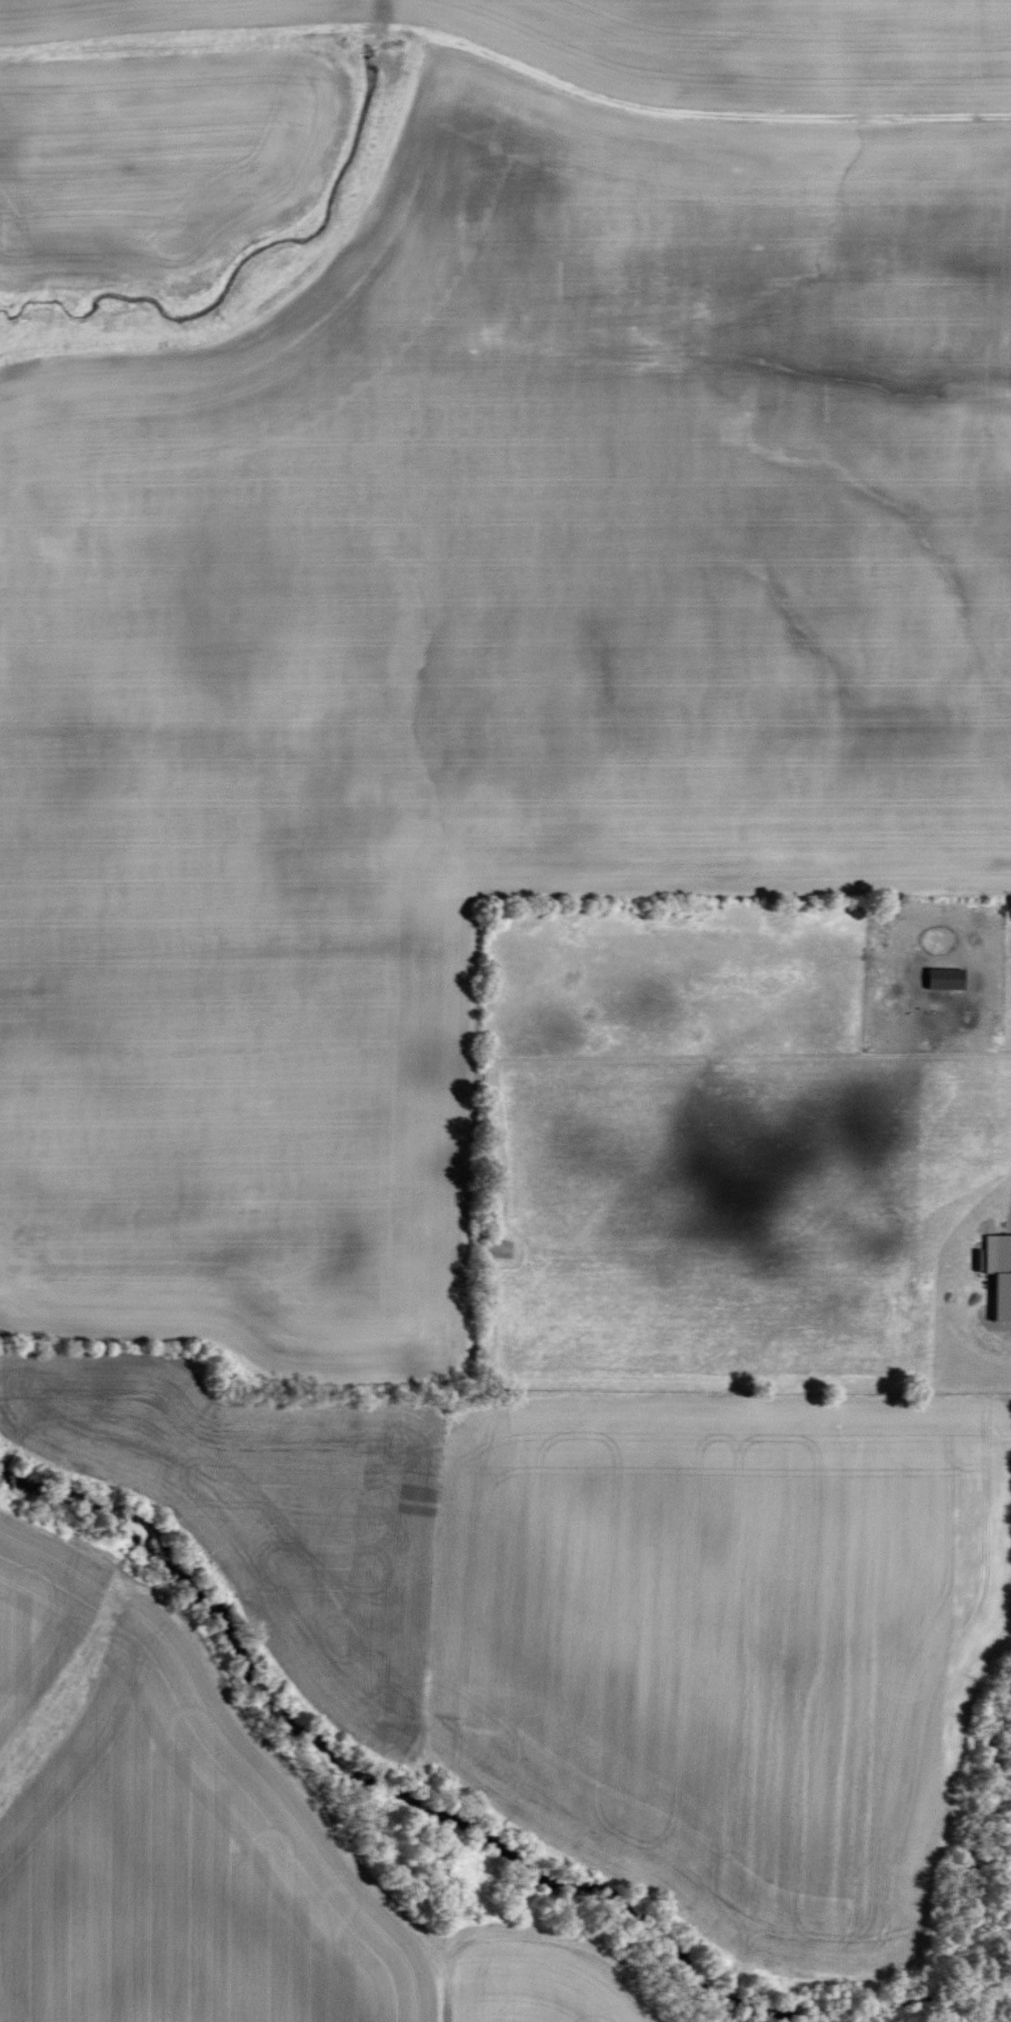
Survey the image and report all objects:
building: (947, 978)
road: (1010, 1208)
building: (1000, 1273)

